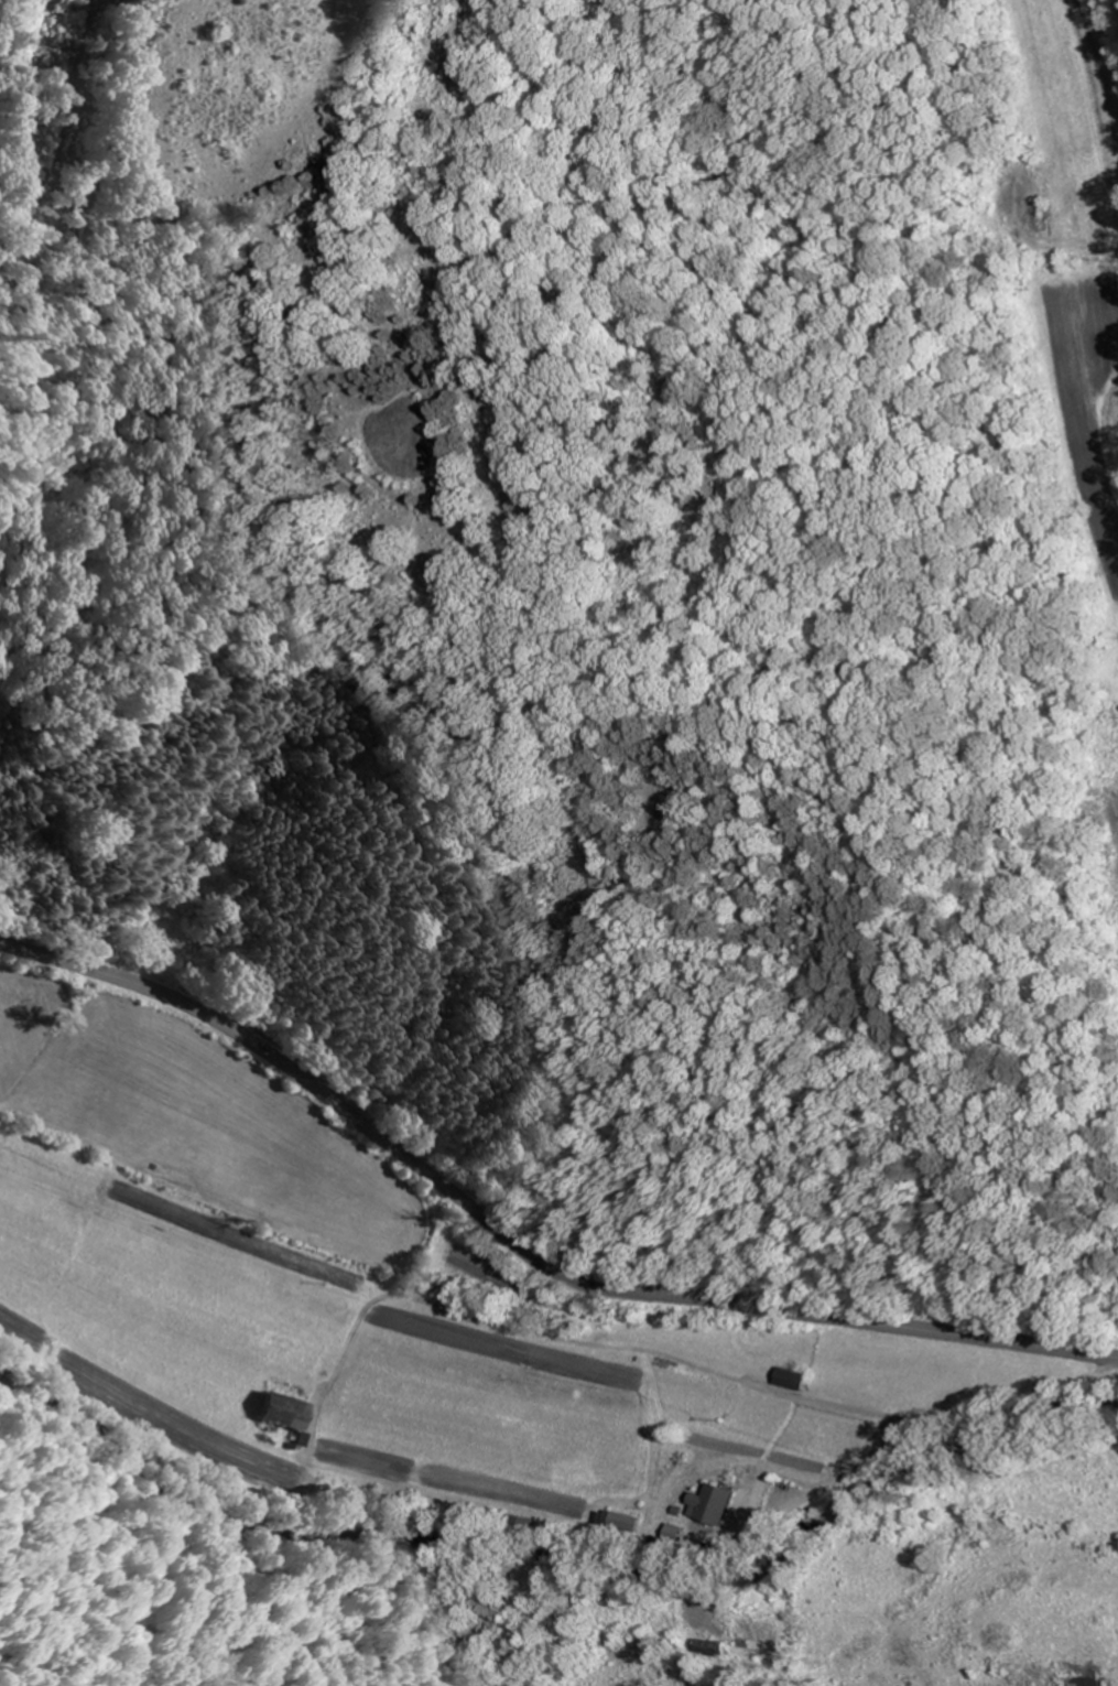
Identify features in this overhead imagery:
building: (1042, 212)
road: (521, 1247)
building: (797, 1377)
building: (285, 1411)
road: (922, 1425)
building: (716, 1503)
building: (621, 1521)
building: (677, 1535)
building: (759, 1630)
building: (1081, 1674)

